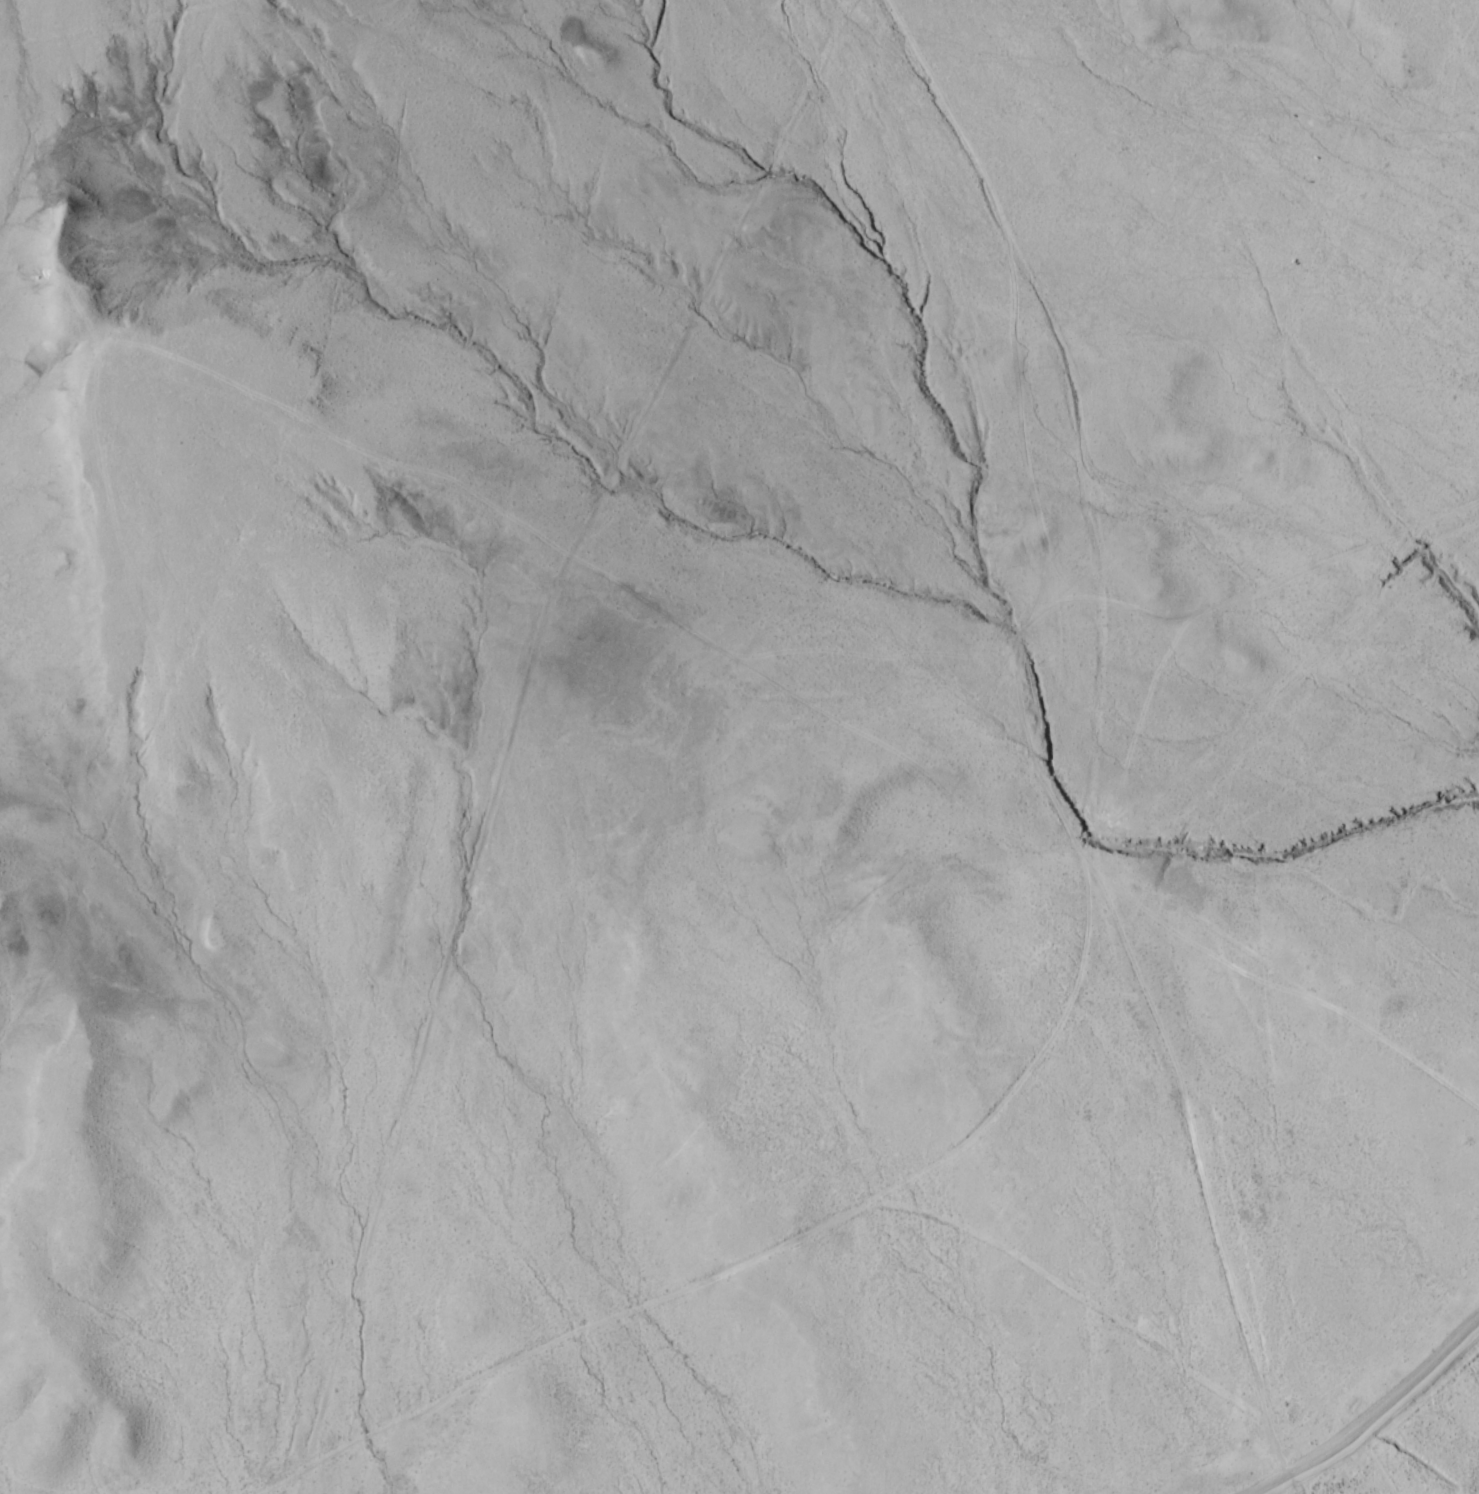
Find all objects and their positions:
road: (1310, 737)
road: (1231, 1201)
road: (790, 1267)

